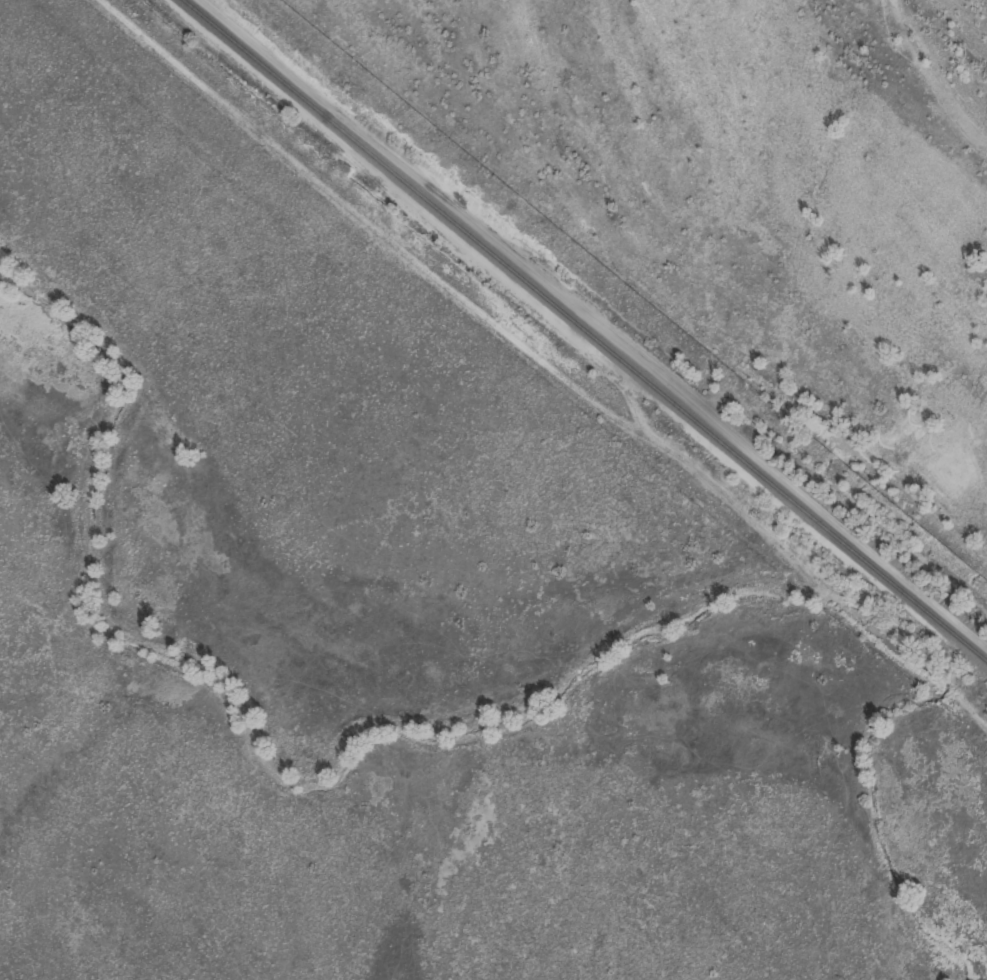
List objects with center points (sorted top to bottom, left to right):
railway: (584, 331)

